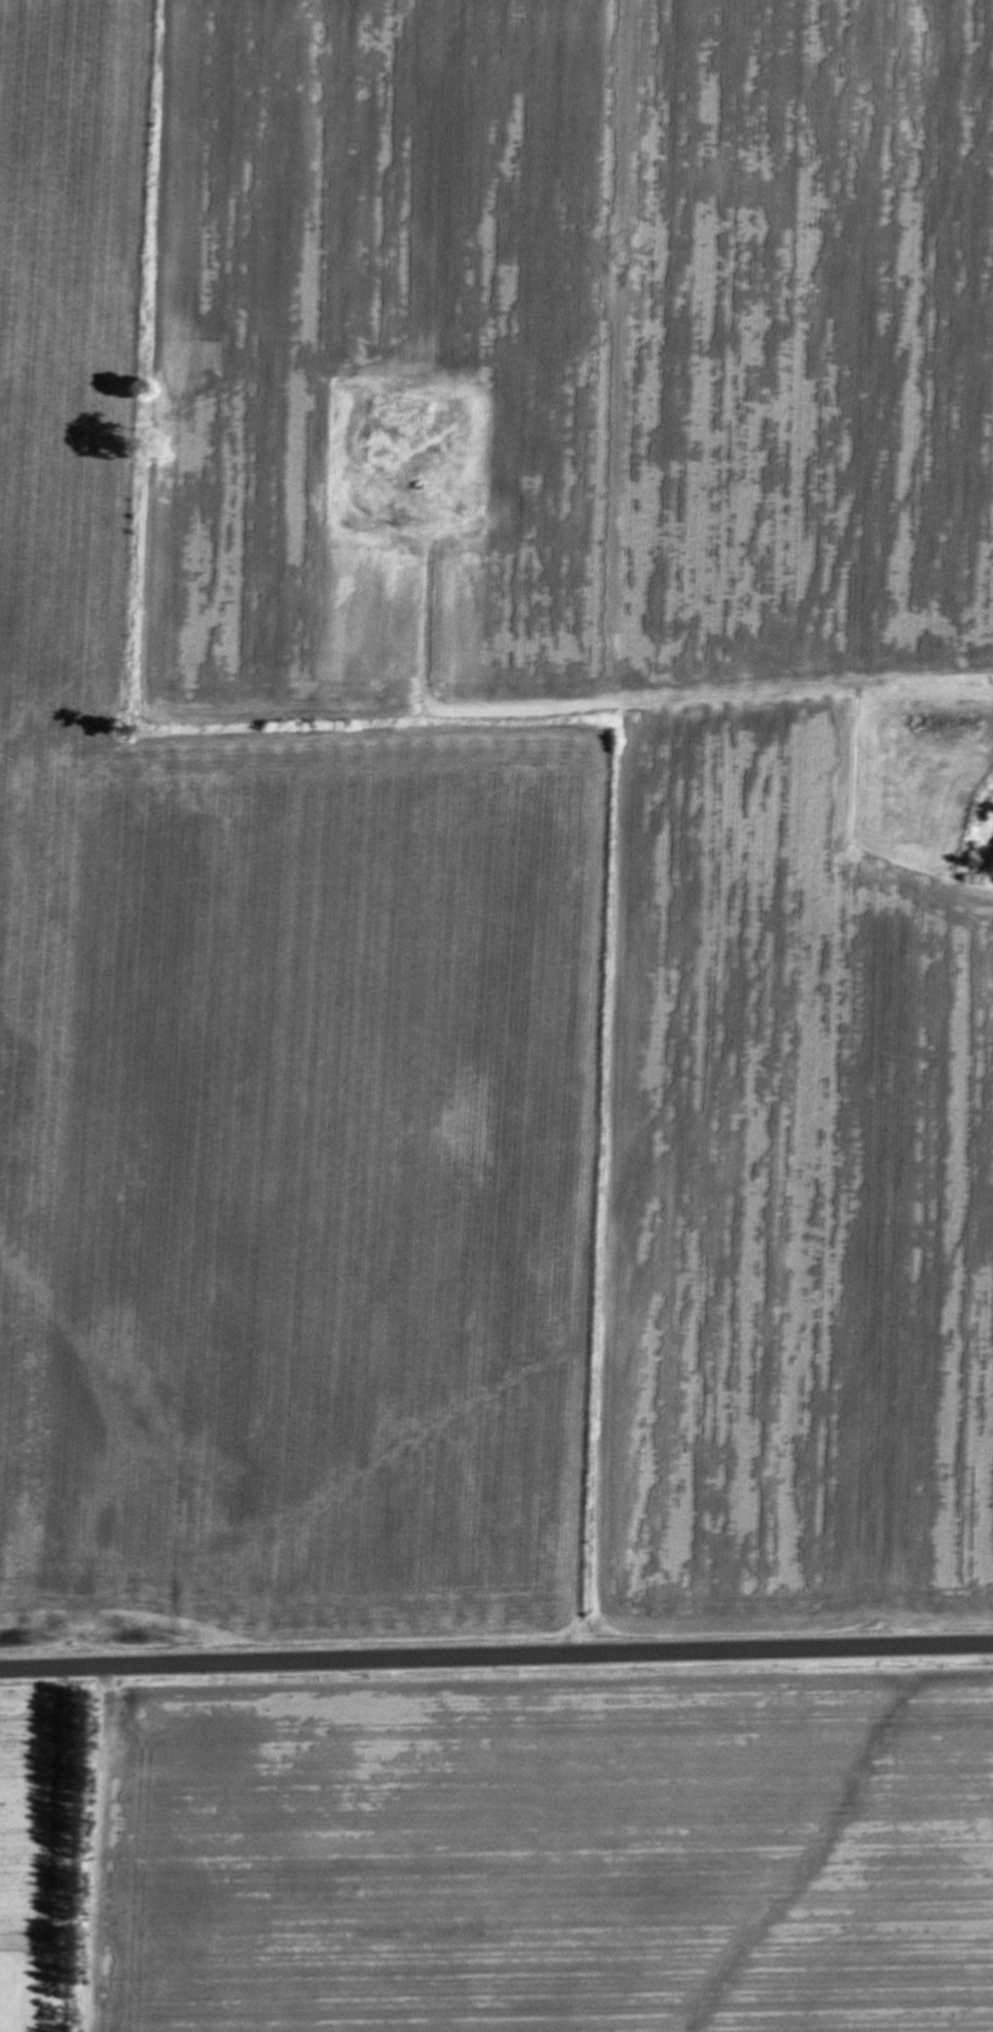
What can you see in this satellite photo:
road: (496, 1656)

